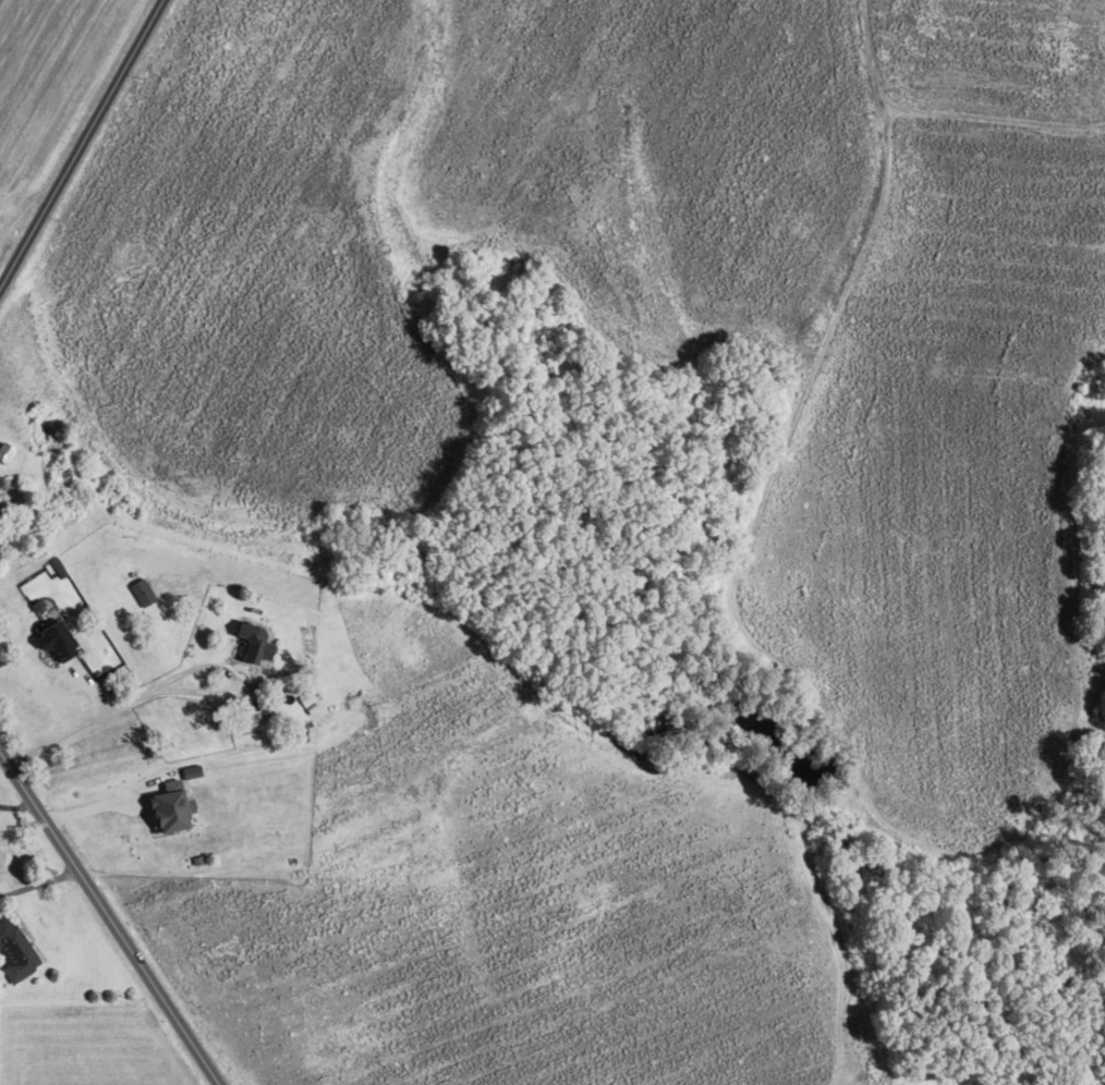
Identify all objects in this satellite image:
road: (82, 145)
building: (143, 590)
building: (57, 639)
building: (254, 642)
road: (111, 712)
road: (73, 721)
road: (19, 805)
building: (170, 806)
road: (39, 881)
road: (109, 916)
building: (15, 951)

